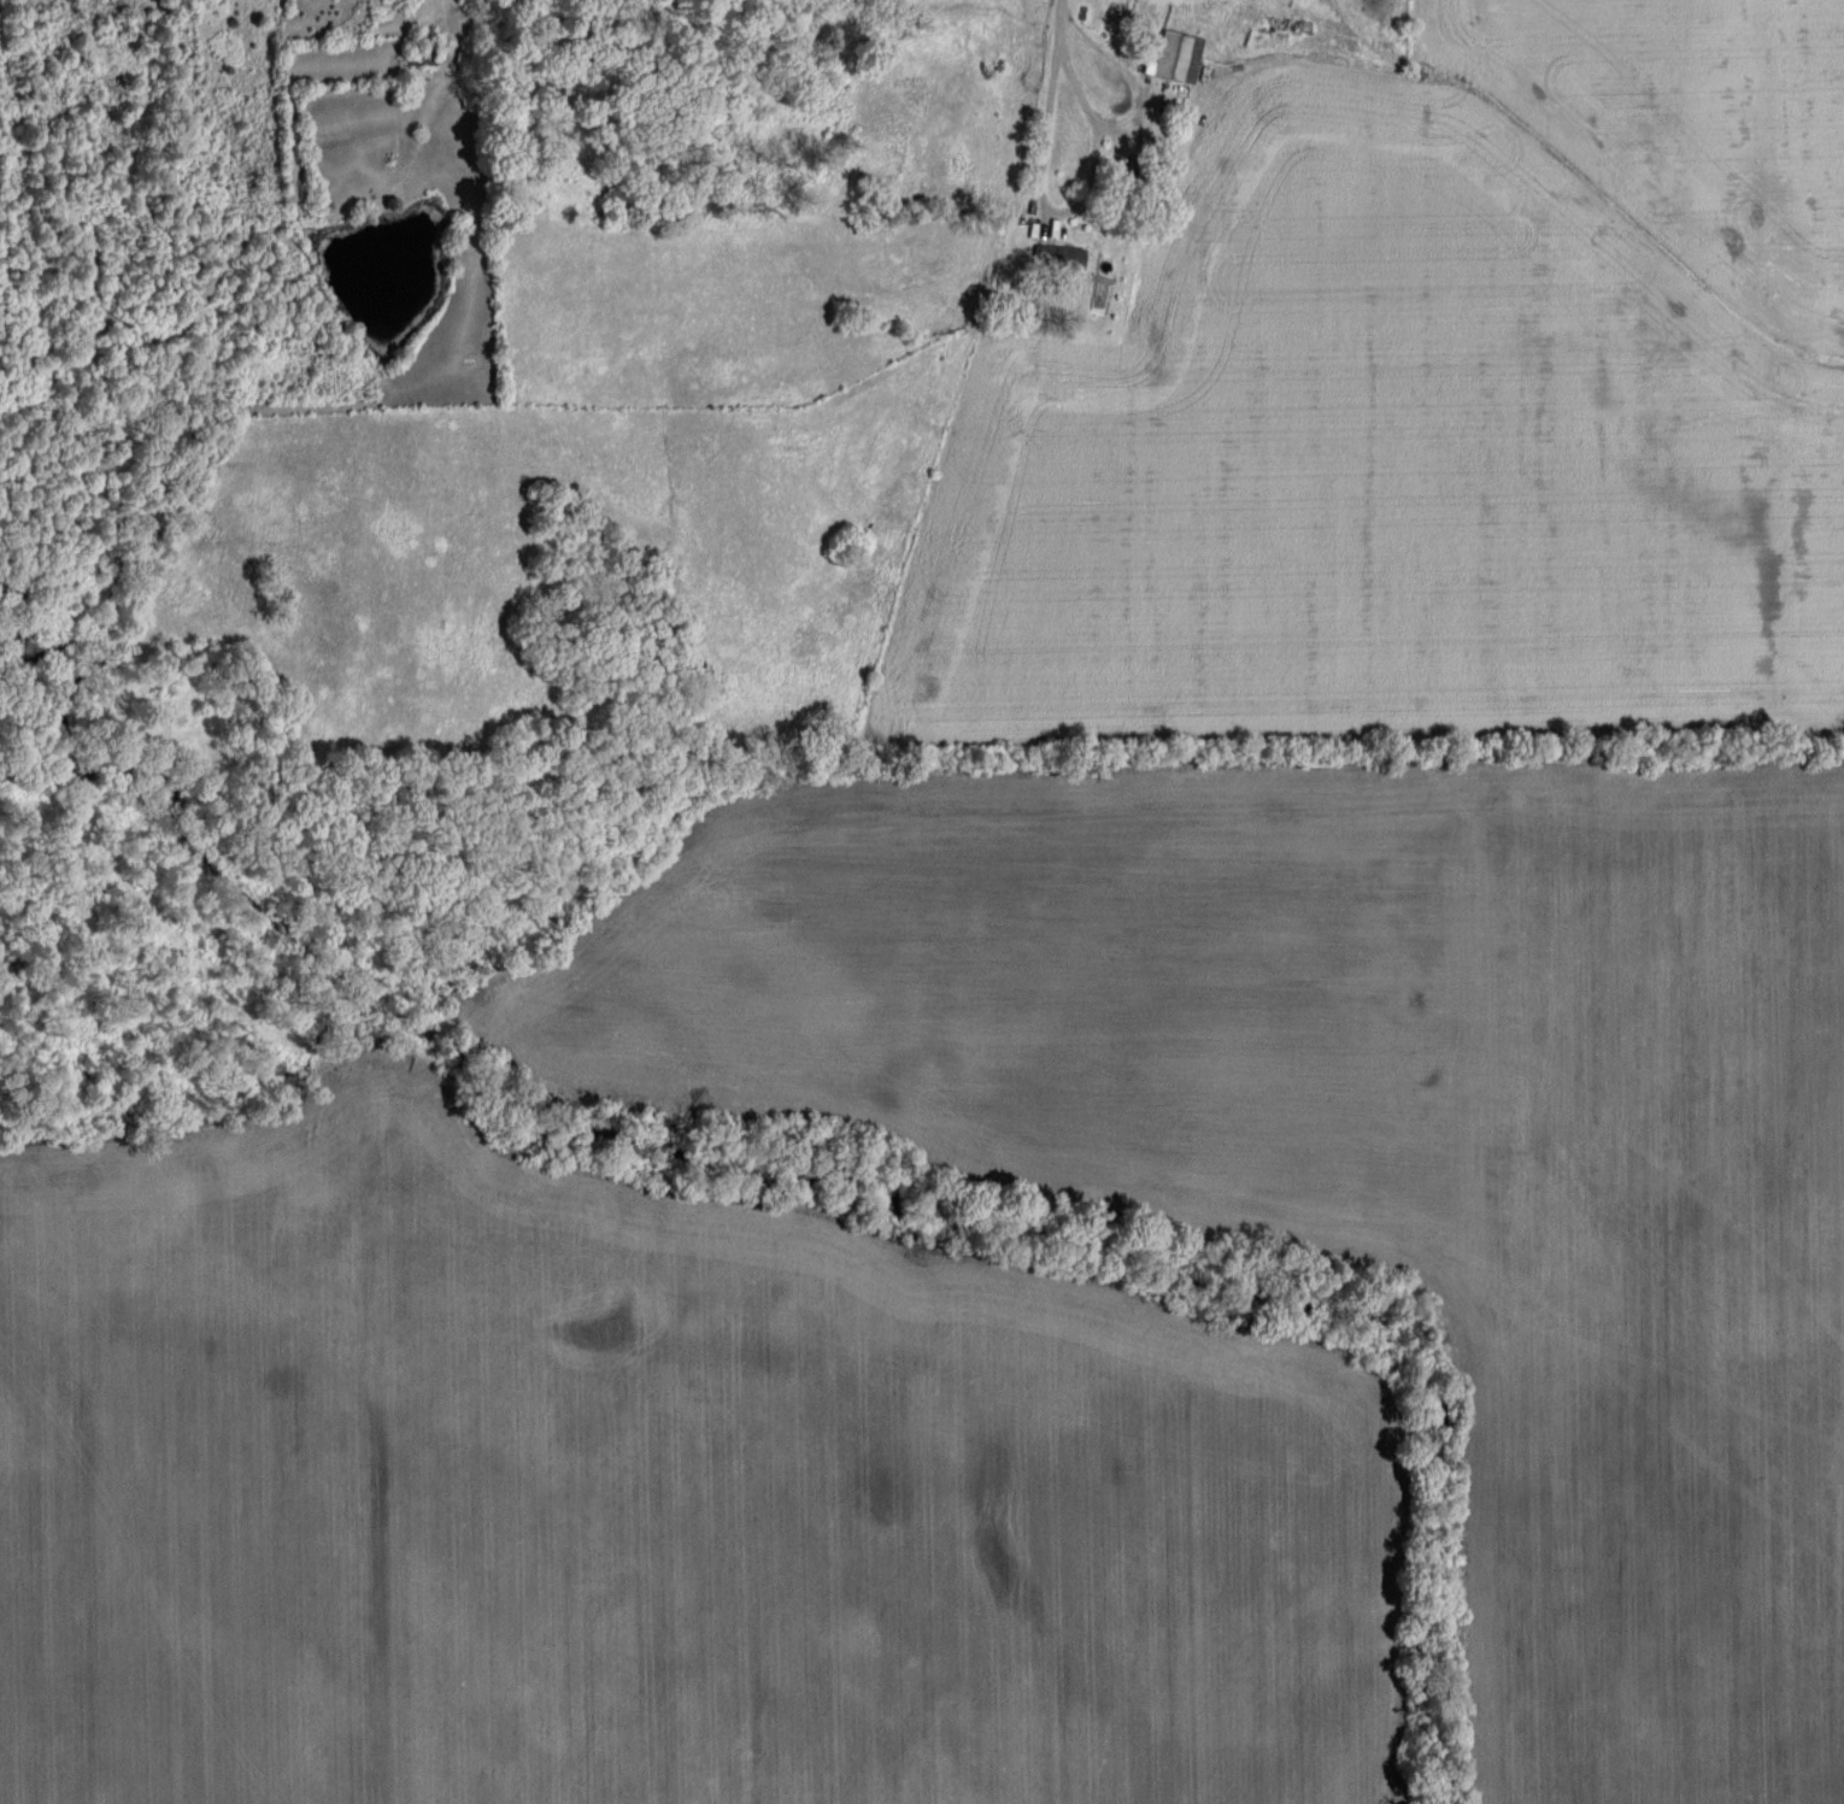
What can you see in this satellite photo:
building: (422, 49)
building: (1173, 58)
building: (1057, 258)

